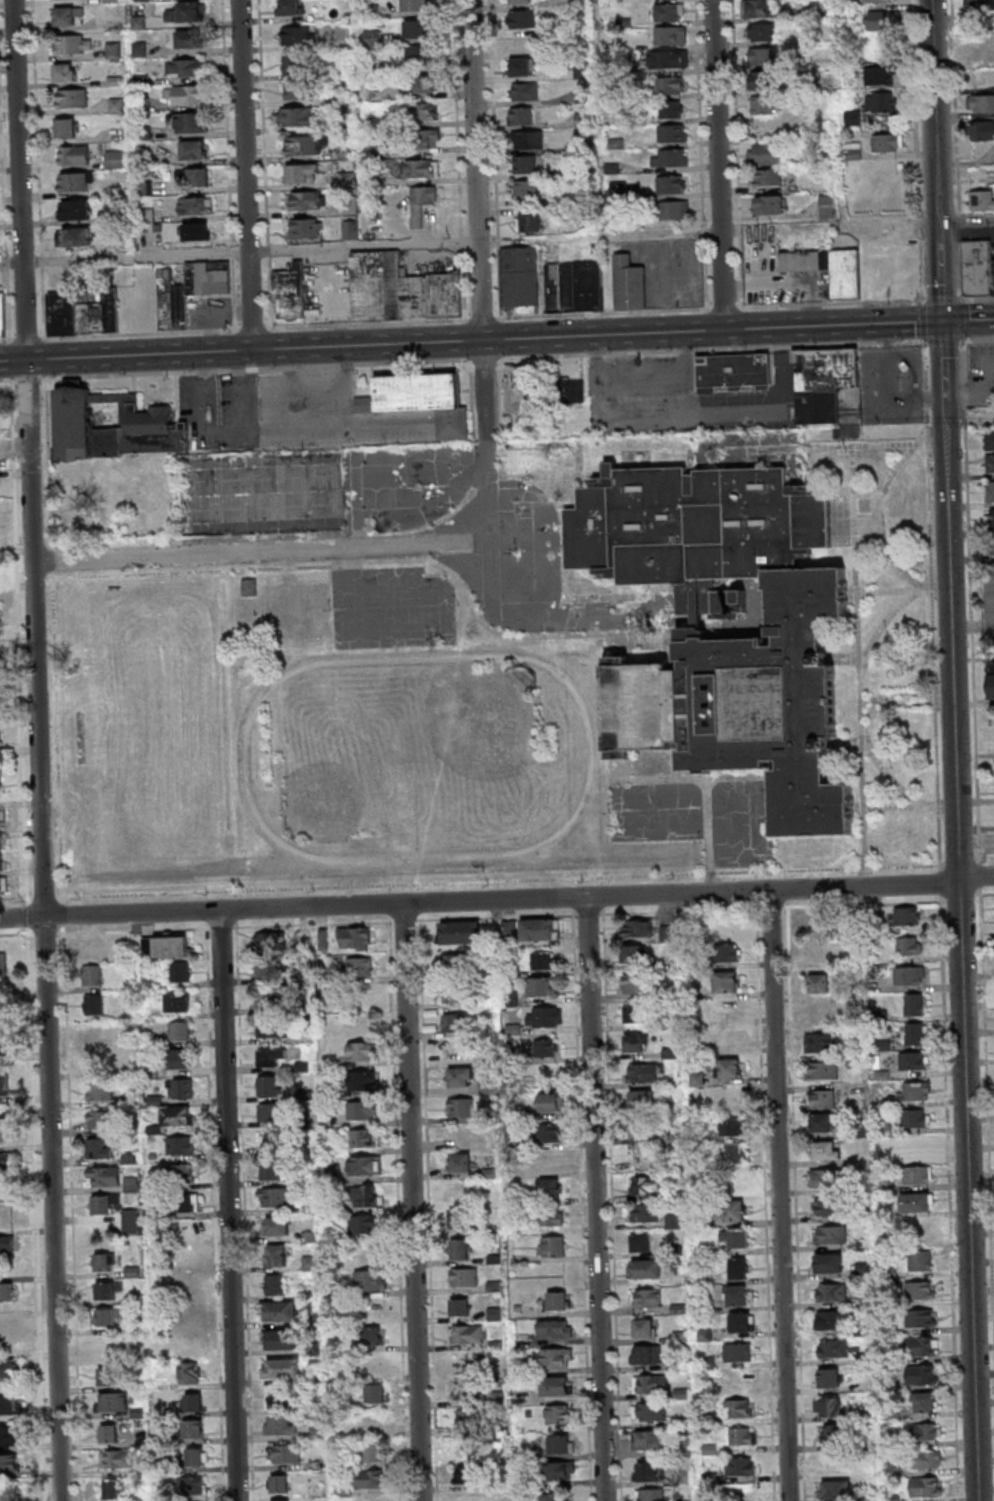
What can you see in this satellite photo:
building: (110, 0)
building: (520, 0)
building: (879, 0)
building: (575, 2)
building: (413, 5)
building: (978, 6)
building: (290, 7)
building: (758, 8)
building: (371, 9)
building: (186, 11)
building: (665, 12)
building: (65, 15)
building: (522, 18)
building: (883, 19)
building: (138, 22)
building: (623, 22)
building: (114, 24)
building: (417, 27)
building: (760, 32)
building: (669, 34)
building: (297, 35)
building: (371, 36)
building: (187, 39)
building: (70, 43)
building: (113, 49)
building: (419, 56)
building: (762, 57)
building: (981, 57)
building: (665, 58)
building: (291, 63)
building: (521, 66)
building: (185, 67)
building: (581, 69)
building: (64, 72)
building: (879, 75)
building: (764, 79)
building: (115, 80)
building: (423, 84)
building: (668, 84)
building: (294, 90)
building: (523, 91)
building: (186, 94)
building: (581, 94)
building: (71, 97)
building: (880, 102)
building: (980, 103)
building: (116, 105)
building: (765, 105)
building: (669, 108)
building: (423, 111)
building: (296, 115)
building: (521, 115)
building: (852, 116)
building: (581, 118)
building: (189, 123)
building: (65, 127)
building: (982, 129)
building: (671, 133)
building: (427, 138)
building: (528, 138)
building: (615, 142)
building: (887, 142)
building: (306, 144)
building: (194, 149)
building: (346, 152)
building: (764, 153)
building: (74, 154)
road: (739, 154)
building: (669, 157)
building: (114, 159)
road: (937, 160)
building: (524, 163)
road: (721, 165)
building: (420, 167)
building: (611, 167)
road: (480, 170)
building: (302, 172)
road: (248, 175)
building: (192, 176)
building: (766, 177)
building: (75, 181)
building: (669, 184)
building: (617, 186)
building: (145, 188)
building: (525, 188)
building: (306, 200)
building: (981, 200)
building: (421, 201)
building: (768, 204)
building: (195, 205)
building: (826, 206)
building: (348, 208)
building: (75, 209)
building: (673, 210)
building: (146, 215)
road: (967, 219)
building: (528, 223)
building: (306, 228)
building: (350, 229)
building: (197, 231)
building: (75, 236)
road: (361, 244)
building: (979, 267)
building: (827, 268)
building: (519, 279)
building: (627, 283)
building: (574, 286)
building: (400, 288)
building: (189, 289)
building: (291, 290)
building: (83, 312)
building: (2, 314)
traffic signals: (943, 322)
road: (137, 334)
road: (496, 340)
road: (712, 349)
road: (483, 357)
road: (255, 368)
building: (732, 370)
building: (822, 381)
building: (515, 388)
building: (571, 389)
building: (426, 400)
building: (363, 403)
building: (115, 426)
road: (488, 436)
building: (989, 439)
road: (861, 442)
road: (48, 460)
building: (989, 462)
building: (990, 491)
road: (879, 511)
building: (989, 518)
building: (708, 522)
building: (589, 529)
building: (991, 545)
road: (266, 553)
road: (381, 558)
road: (49, 560)
building: (248, 587)
road: (892, 588)
building: (706, 594)
building: (738, 595)
building: (695, 600)
building: (725, 602)
road: (930, 602)
building: (731, 614)
road: (880, 625)
road: (973, 627)
building: (690, 633)
road: (858, 654)
building: (991, 679)
building: (774, 702)
building: (642, 706)
road: (57, 736)
road: (41, 750)
track: (242, 766)
road: (886, 771)
road: (900, 805)
building: (2, 818)
building: (2, 840)
building: (1, 861)
road: (501, 880)
building: (3, 885)
road: (497, 900)
road: (960, 911)
building: (907, 916)
building: (508, 927)
building: (635, 928)
building: (540, 929)
building: (460, 932)
building: (354, 938)
building: (272, 941)
building: (908, 945)
building: (91, 947)
building: (171, 947)
building: (727, 952)
building: (634, 953)
building: (542, 960)
building: (2, 963)
building: (460, 964)
building: (360, 966)
building: (272, 969)
building: (180, 971)
building: (92, 974)
building: (908, 975)
building: (725, 981)
building: (818, 982)
building: (635, 983)
building: (540, 986)
building: (458, 995)
building: (269, 1000)
building: (177, 1002)
building: (914, 1003)
building: (94, 1004)
building: (726, 1008)
building: (819, 1011)
building: (632, 1013)
building: (545, 1016)
building: (453, 1022)
building: (271, 1028)
building: (179, 1030)
building: (915, 1033)
building: (726, 1037)
building: (3, 1040)
building: (819, 1042)
building: (634, 1043)
building: (546, 1047)
building: (362, 1051)
building: (270, 1057)
building: (177, 1058)
building: (911, 1060)
building: (99, 1061)
building: (729, 1068)
building: (821, 1070)
building: (643, 1072)
building: (461, 1077)
building: (363, 1080)
building: (485, 1084)
building: (4, 1085)
building: (268, 1086)
building: (180, 1088)
building: (914, 1091)
building: (99, 1092)
building: (640, 1098)
building: (821, 1098)
building: (552, 1102)
building: (461, 1106)
building: (361, 1110)
building: (269, 1111)
building: (4, 1115)
building: (176, 1116)
building: (913, 1118)
building: (98, 1121)
building: (823, 1122)
building: (733, 1126)
building: (638, 1128)
building: (549, 1132)
building: (363, 1137)
building: (269, 1142)
building: (180, 1145)
building: (915, 1147)
building: (99, 1150)
building: (826, 1150)
building: (733, 1152)
building: (554, 1158)
building: (4, 1162)
building: (460, 1162)
building: (365, 1165)
building: (271, 1171)
building: (181, 1173)
building: (917, 1174)
building: (104, 1177)
building: (824, 1177)
building: (733, 1182)
building: (645, 1184)
building: (131, 1185)
building: (552, 1188)
road: (779, 1194)
building: (367, 1195)
building: (274, 1197)
road: (596, 1199)
building: (915, 1201)
building: (182, 1202)
road: (413, 1202)
building: (101, 1205)
road: (229, 1205)
building: (826, 1205)
building: (734, 1210)
building: (644, 1212)
building: (550, 1217)
building: (461, 1218)
building: (674, 1220)
building: (132, 1221)
building: (363, 1224)
building: (276, 1225)
building: (831, 1234)
building: (737, 1237)
building: (640, 1241)
building: (7, 1244)
building: (551, 1246)
building: (459, 1248)
building: (276, 1255)
building: (920, 1260)
building: (104, 1262)
building: (828, 1262)
building: (309, 1263)
building: (645, 1268)
building: (738, 1268)
building: (464, 1277)
building: (369, 1280)
building: (274, 1284)
building: (919, 1289)
building: (107, 1290)
building: (6, 1291)
building: (829, 1291)
building: (738, 1294)
building: (645, 1297)
building: (558, 1300)
building: (460, 1306)
building: (279, 1309)
building: (108, 1317)
building: (918, 1317)
building: (833, 1319)
building: (740, 1321)
building: (643, 1327)
building: (554, 1329)
building: (6, 1330)
building: (467, 1333)
building: (369, 1337)
building: (281, 1339)
building: (921, 1345)
building: (105, 1347)
building: (831, 1348)
building: (736, 1352)
building: (645, 1354)
building: (556, 1357)
building: (466, 1364)
building: (284, 1368)
building: (8, 1371)
building: (189, 1373)
building: (922, 1374)
building: (108, 1377)
building: (828, 1377)
building: (650, 1383)
building: (555, 1385)
building: (461, 1390)
building: (375, 1394)
building: (279, 1398)
building: (114, 1401)
building: (924, 1401)
building: (194, 1402)
building: (9, 1404)
building: (827, 1406)
building: (738, 1407)
building: (649, 1411)
building: (558, 1413)
building: (464, 1419)
building: (370, 1422)
building: (280, 1425)
building: (193, 1428)
building: (318, 1430)
building: (924, 1431)
building: (108, 1433)
building: (833, 1433)
building: (9, 1435)
building: (742, 1435)
building: (648, 1439)
building: (560, 1444)
building: (372, 1452)
building: (285, 1453)
building: (196, 1457)
building: (118, 1458)
building: (927, 1459)
building: (8, 1463)
building: (738, 1465)
building: (559, 1470)
building: (648, 1471)
building: (464, 1473)
building: (369, 1478)
building: (278, 1484)
building: (191, 1485)
building: (926, 1486)
building: (110, 1488)
building: (835, 1489)
building: (7, 1493)
building: (649, 1494)
building: (555, 1497)
building: (469, 1498)
building: (280, 1500)
building: (372, 1500)

